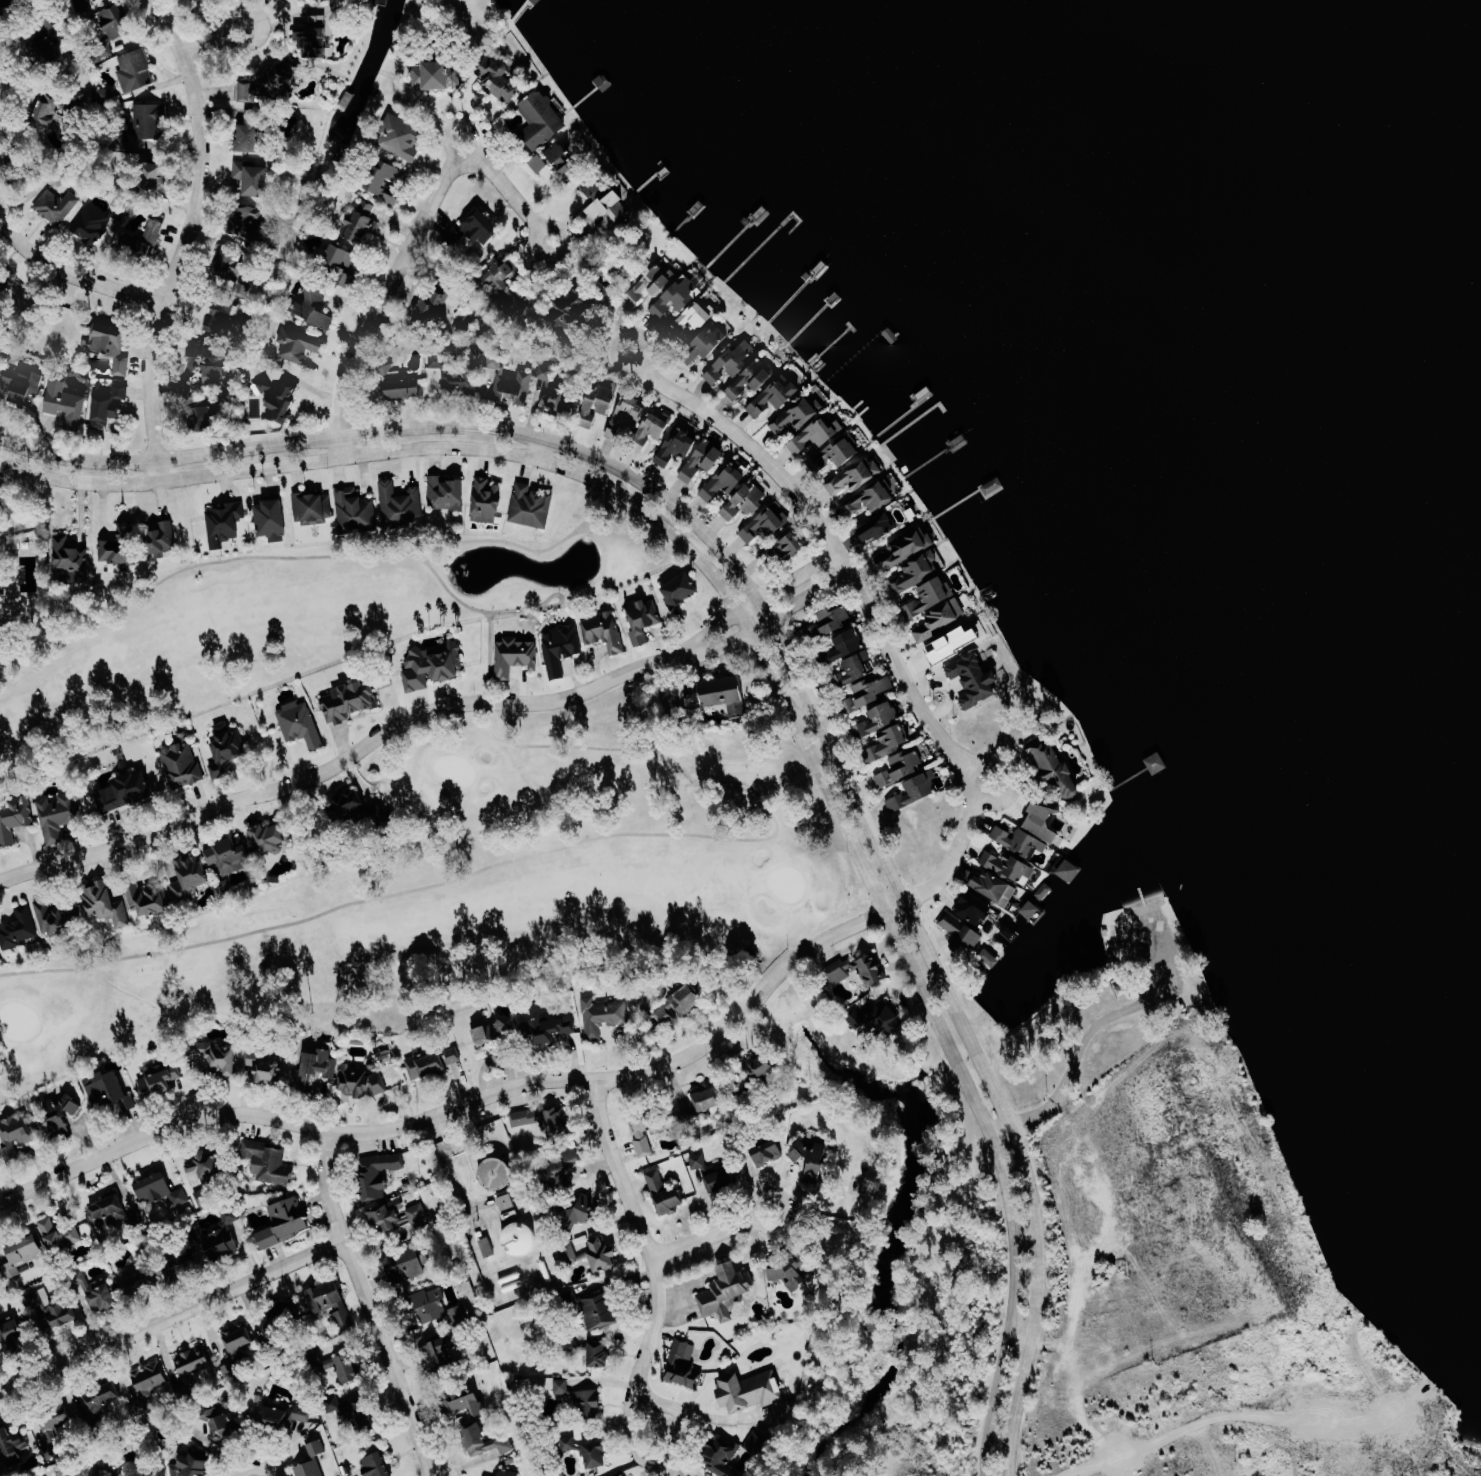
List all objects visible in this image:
building: (323, 0)
building: (84, 6)
building: (117, 21)
building: (316, 37)
road: (213, 42)
building: (49, 49)
building: (135, 71)
building: (438, 75)
building: (499, 77)
building: (281, 79)
building: (248, 92)
road: (11, 95)
building: (351, 101)
building: (53, 111)
building: (542, 120)
building: (144, 129)
building: (253, 132)
building: (402, 137)
building: (540, 163)
building: (156, 175)
building: (252, 178)
building: (389, 183)
building: (58, 205)
building: (250, 222)
building: (361, 222)
road: (430, 223)
building: (92, 224)
road: (192, 227)
building: (482, 227)
building: (145, 241)
building: (340, 260)
building: (231, 266)
road: (70, 269)
building: (502, 282)
building: (655, 283)
building: (679, 297)
building: (435, 303)
building: (315, 308)
building: (570, 309)
building: (222, 316)
building: (693, 319)
building: (711, 342)
building: (300, 344)
building: (113, 346)
building: (214, 361)
building: (390, 371)
building: (453, 375)
building: (25, 386)
building: (405, 388)
building: (554, 392)
building: (776, 395)
building: (279, 399)
building: (66, 403)
building: (109, 405)
building: (599, 405)
building: (798, 416)
building: (206, 418)
building: (627, 419)
building: (657, 425)
building: (817, 437)
road: (347, 445)
building: (678, 447)
building: (836, 455)
building: (703, 460)
road: (163, 469)
building: (860, 474)
building: (729, 480)
building: (447, 493)
building: (871, 497)
building: (487, 501)
building: (747, 501)
building: (401, 504)
building: (532, 506)
building: (314, 508)
building: (356, 512)
building: (272, 518)
building: (225, 523)
building: (764, 527)
building: (879, 528)
building: (162, 539)
building: (793, 546)
building: (908, 547)
building: (121, 551)
building: (70, 557)
building: (919, 569)
road: (837, 575)
road: (820, 587)
building: (0, 590)
building: (682, 590)
building: (930, 598)
building: (941, 619)
building: (644, 620)
road: (871, 621)
building: (832, 623)
building: (604, 631)
building: (956, 644)
building: (846, 647)
building: (561, 648)
road: (794, 648)
building: (516, 656)
road: (777, 660)
building: (433, 665)
building: (858, 668)
building: (976, 679)
building: (726, 691)
building: (695, 696)
building: (351, 701)
building: (737, 710)
building: (882, 720)
building: (301, 725)
road: (404, 729)
building: (227, 751)
building: (182, 765)
building: (903, 769)
building: (1057, 769)
building: (124, 793)
building: (915, 793)
building: (58, 817)
building: (14, 821)
building: (1046, 823)
building: (271, 838)
building: (1019, 839)
building: (230, 856)
building: (1010, 863)
building: (1071, 870)
building: (192, 872)
building: (995, 887)
building: (156, 901)
building: (108, 904)
building: (976, 908)
building: (1033, 910)
building: (56, 918)
building: (19, 928)
building: (962, 928)
building: (989, 957)
building: (860, 970)
building: (680, 1004)
building: (603, 1015)
building: (884, 1017)
building: (549, 1029)
building: (494, 1032)
building: (219, 1056)
building: (432, 1062)
building: (763, 1065)
building: (265, 1067)
building: (316, 1068)
building: (161, 1081)
building: (110, 1090)
building: (709, 1098)
road: (471, 1099)
building: (63, 1115)
building: (530, 1117)
building: (559, 1120)
building: (646, 1131)
building: (17, 1139)
building: (770, 1154)
building: (813, 1160)
building: (269, 1161)
building: (698, 1161)
building: (565, 1162)
building: (499, 1172)
building: (206, 1173)
building: (382, 1173)
building: (722, 1180)
building: (564, 1182)
building: (160, 1189)
building: (666, 1193)
building: (110, 1211)
building: (580, 1212)
building: (401, 1216)
building: (286, 1222)
road: (468, 1226)
road: (711, 1234)
building: (59, 1235)
building: (224, 1237)
building: (488, 1246)
road: (656, 1253)
building: (594, 1254)
building: (23, 1256)
building: (407, 1264)
building: (792, 1270)
road: (369, 1287)
building: (99, 1289)
building: (727, 1290)
building: (431, 1304)
building: (331, 1305)
building: (53, 1308)
building: (600, 1310)
road: (176, 1318)
building: (12, 1330)
building: (238, 1336)
building: (599, 1353)
building: (442, 1354)
building: (193, 1362)
building: (684, 1364)
building: (339, 1365)
building: (153, 1379)
building: (751, 1390)
building: (104, 1397)
building: (579, 1398)
building: (470, 1403)
building: (360, 1414)
building: (285, 1415)
building: (224, 1421)
building: (63, 1430)
building: (12, 1441)
building: (485, 1441)
building: (567, 1443)
building: (317, 1448)
building: (597, 1454)
building: (723, 1457)
road: (434, 1459)
building: (373, 1465)
building: (188, 1466)
building: (307, 1469)
building: (110, 1472)
building: (506, 1473)

